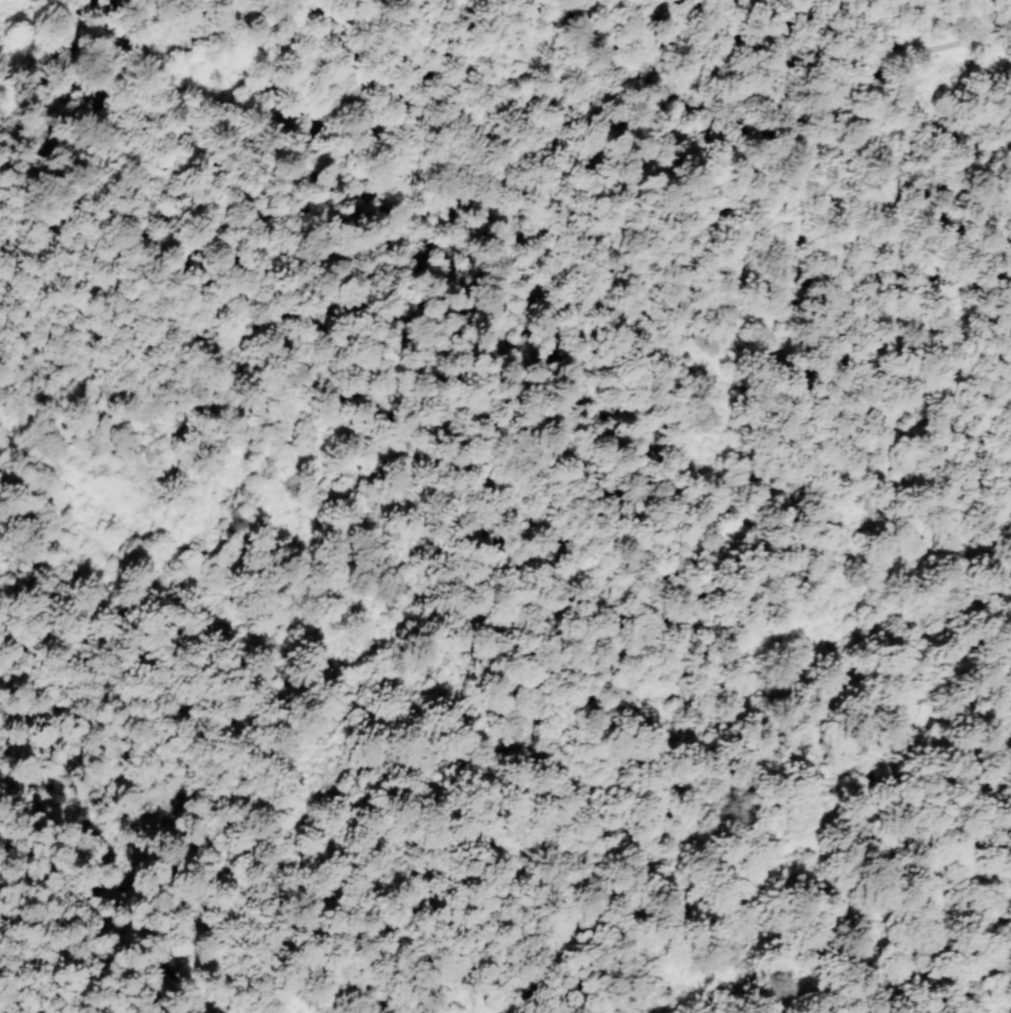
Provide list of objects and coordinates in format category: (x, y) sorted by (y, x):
road: (1004, 48)
road: (873, 62)

